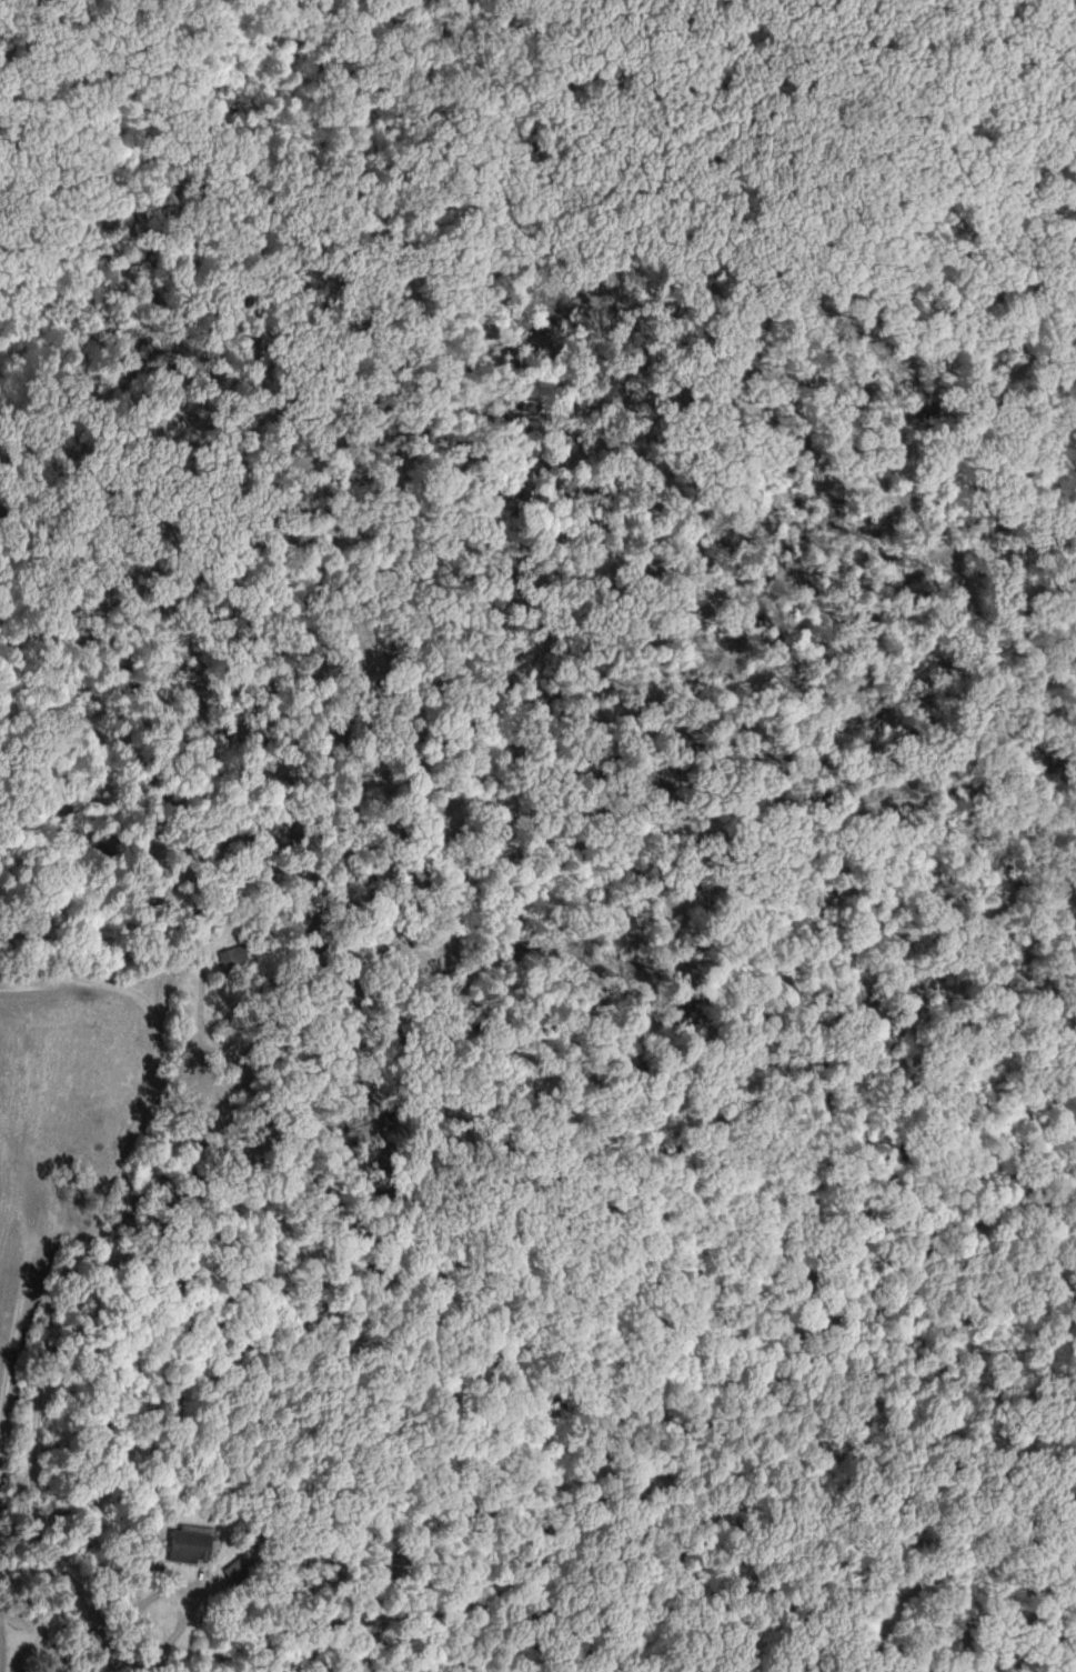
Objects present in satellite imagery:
building: (228, 955)
building: (182, 1544)
building: (233, 1566)

